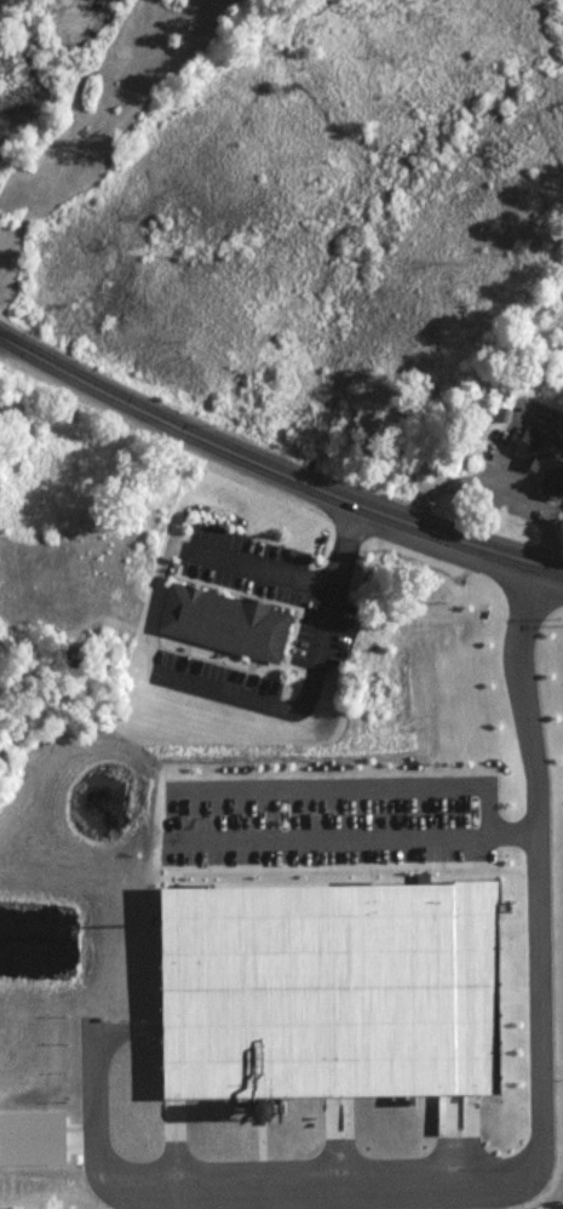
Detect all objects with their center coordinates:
building: (539, 457)
road: (274, 475)
road: (490, 477)
road: (260, 561)
building: (216, 620)
road: (309, 675)
road: (354, 833)
building: (324, 990)
building: (30, 1135)
road: (538, 1148)

